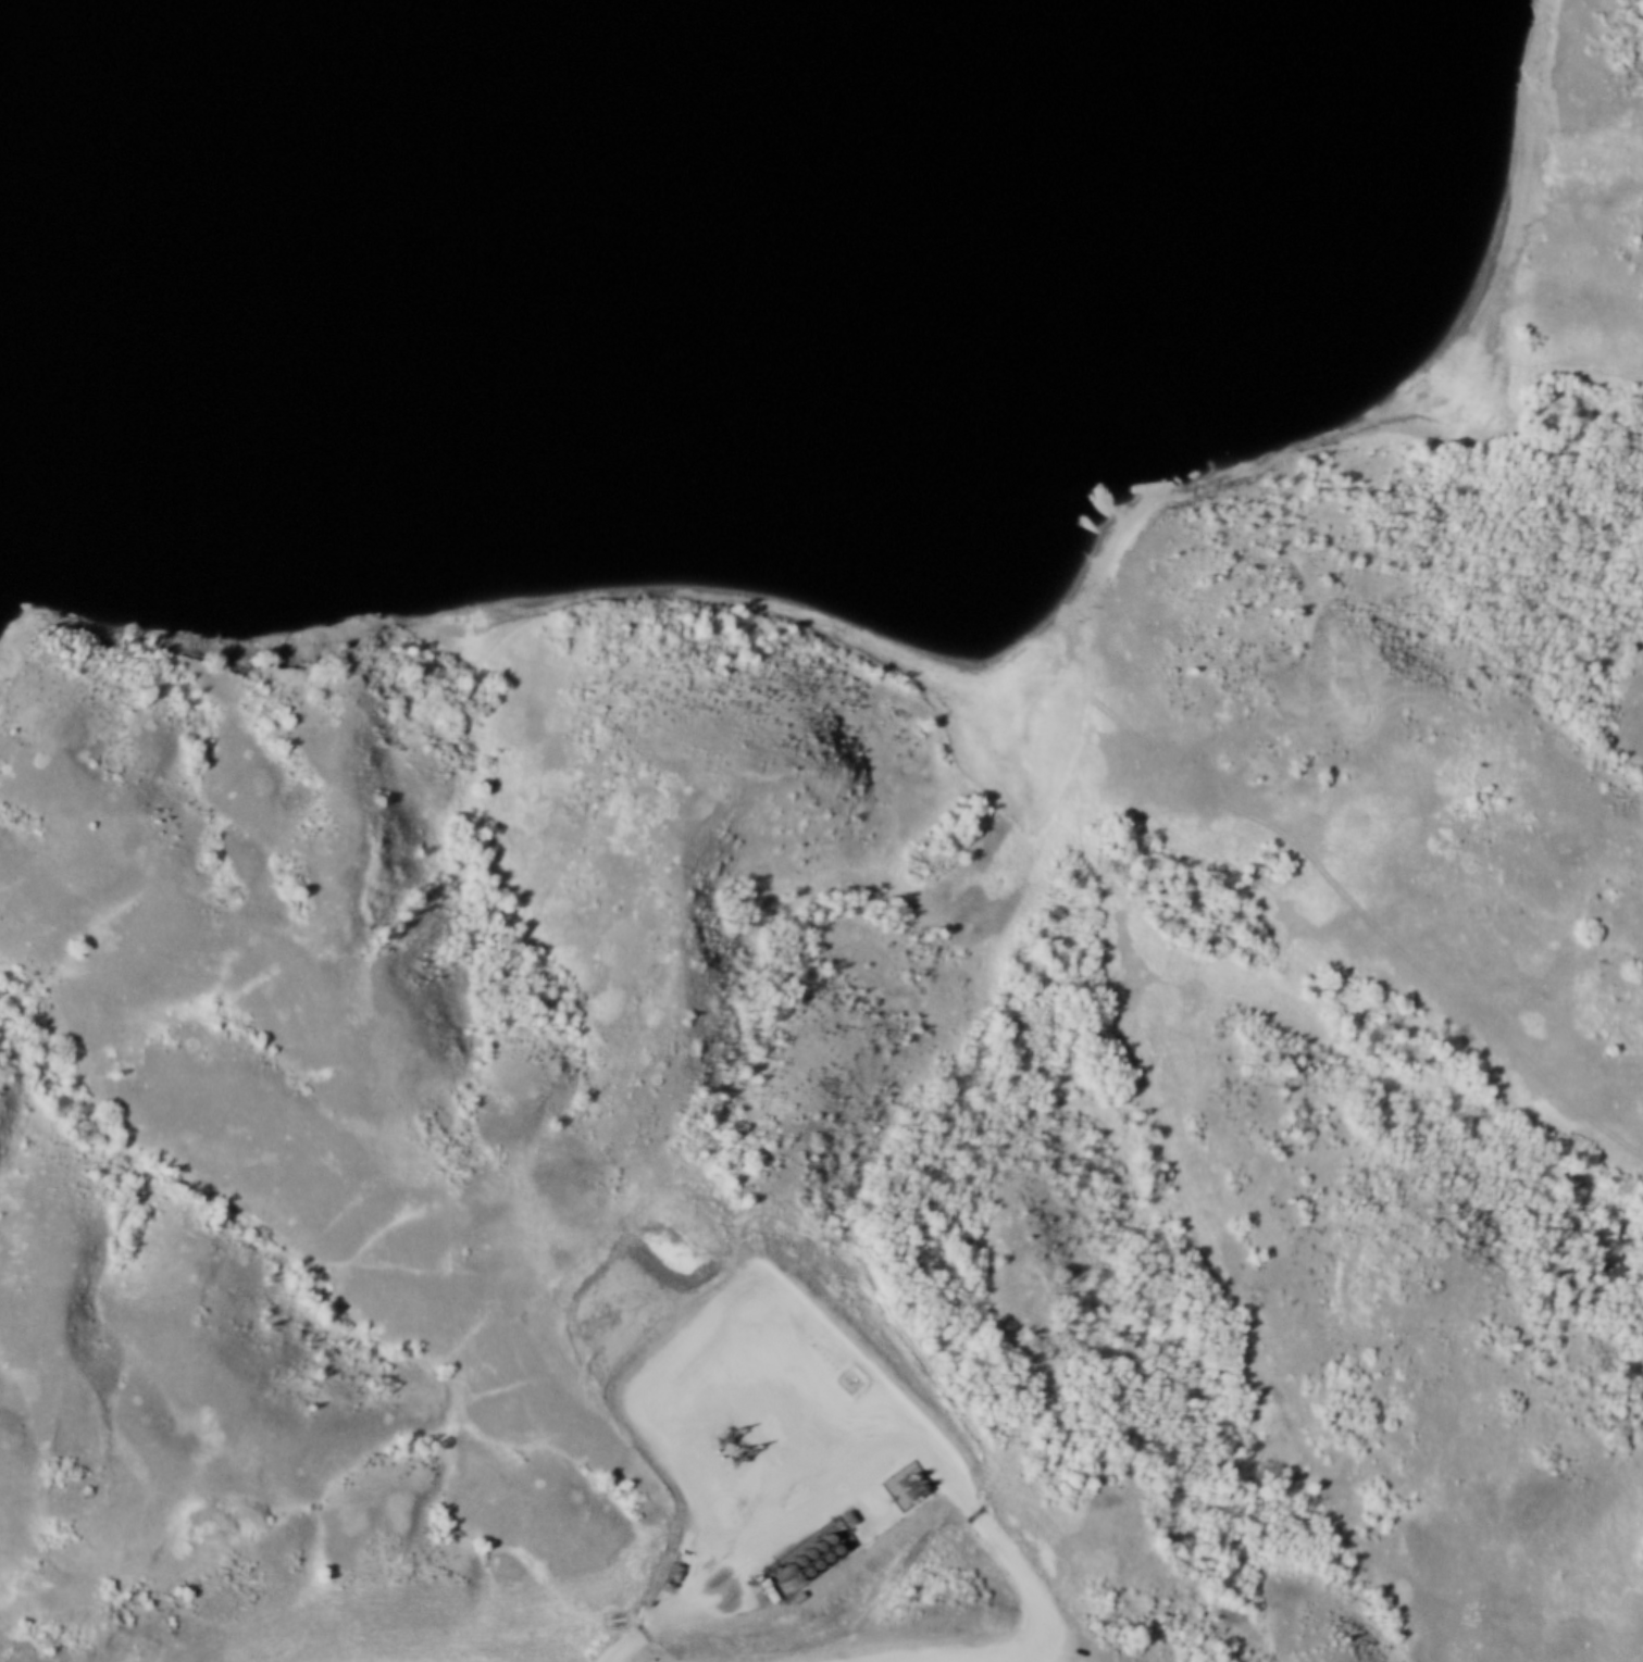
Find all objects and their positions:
building: (825, 1533)
storage tank: (825, 1533)
building: (816, 1540)
storage tank: (816, 1540)
building: (833, 1545)
storage tank: (833, 1545)
building: (806, 1548)
storage tank: (806, 1548)
building: (822, 1552)
storage tank: (822, 1552)
building: (795, 1554)
storage tank: (795, 1554)
building: (812, 1560)
storage tank: (812, 1560)
building: (785, 1562)
storage tank: (785, 1562)
building: (804, 1566)
storage tank: (804, 1566)
road: (989, 1566)
building: (794, 1574)
storage tank: (794, 1574)
road: (950, 1655)
road: (1049, 1655)

